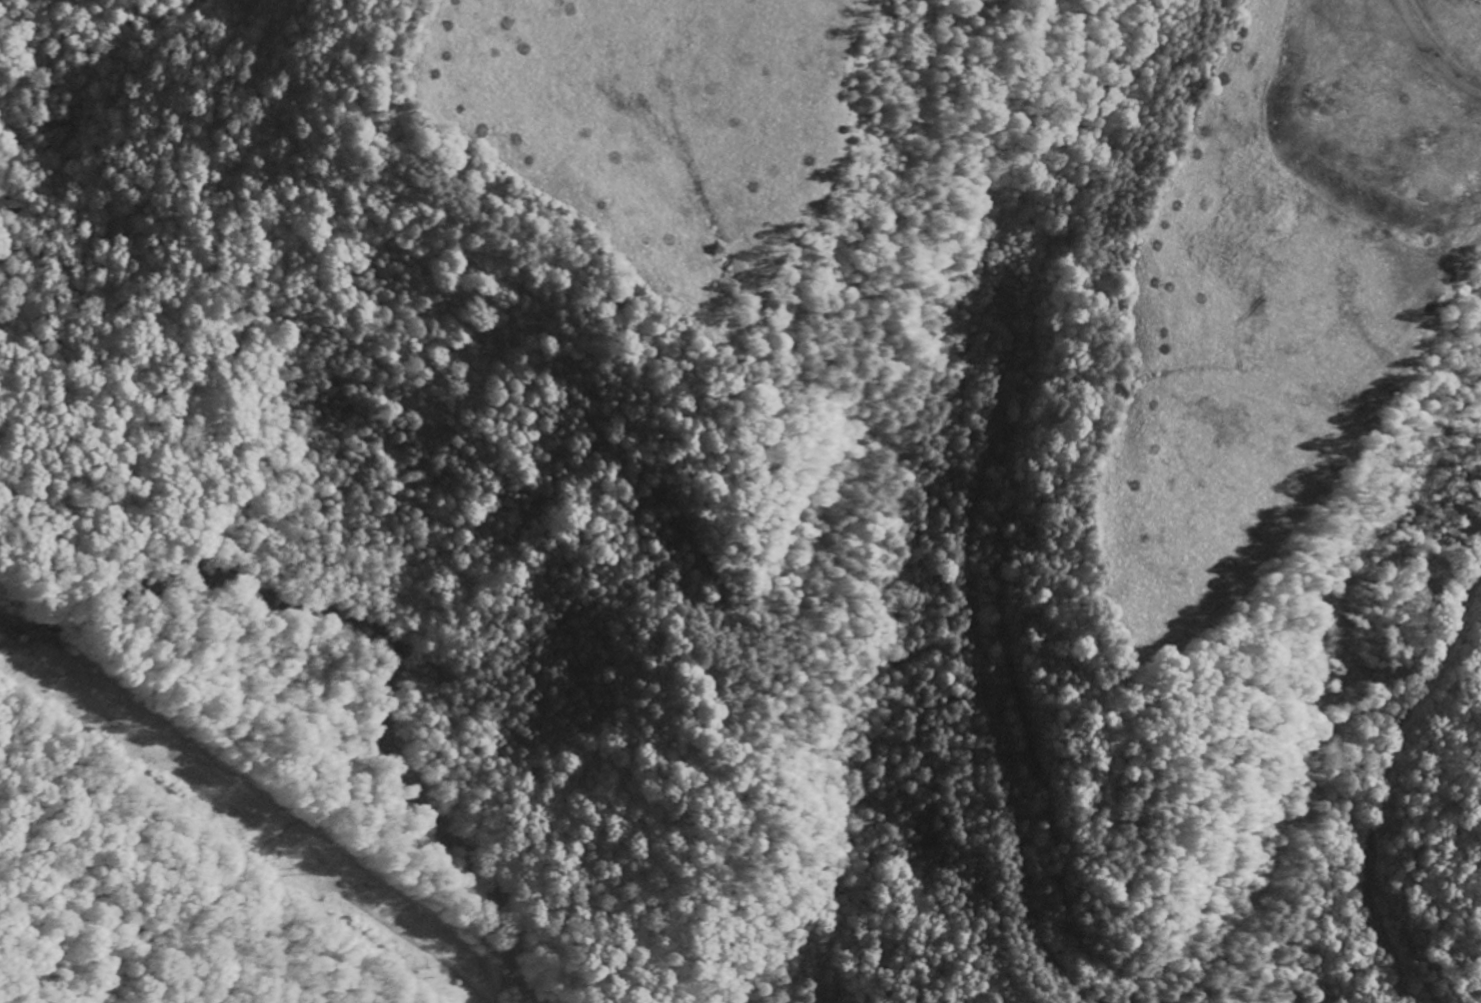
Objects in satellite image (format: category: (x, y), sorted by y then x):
road: (1434, 53)
power tower: (115, 722)
road: (1398, 727)
power tower: (315, 865)
road: (1385, 954)

